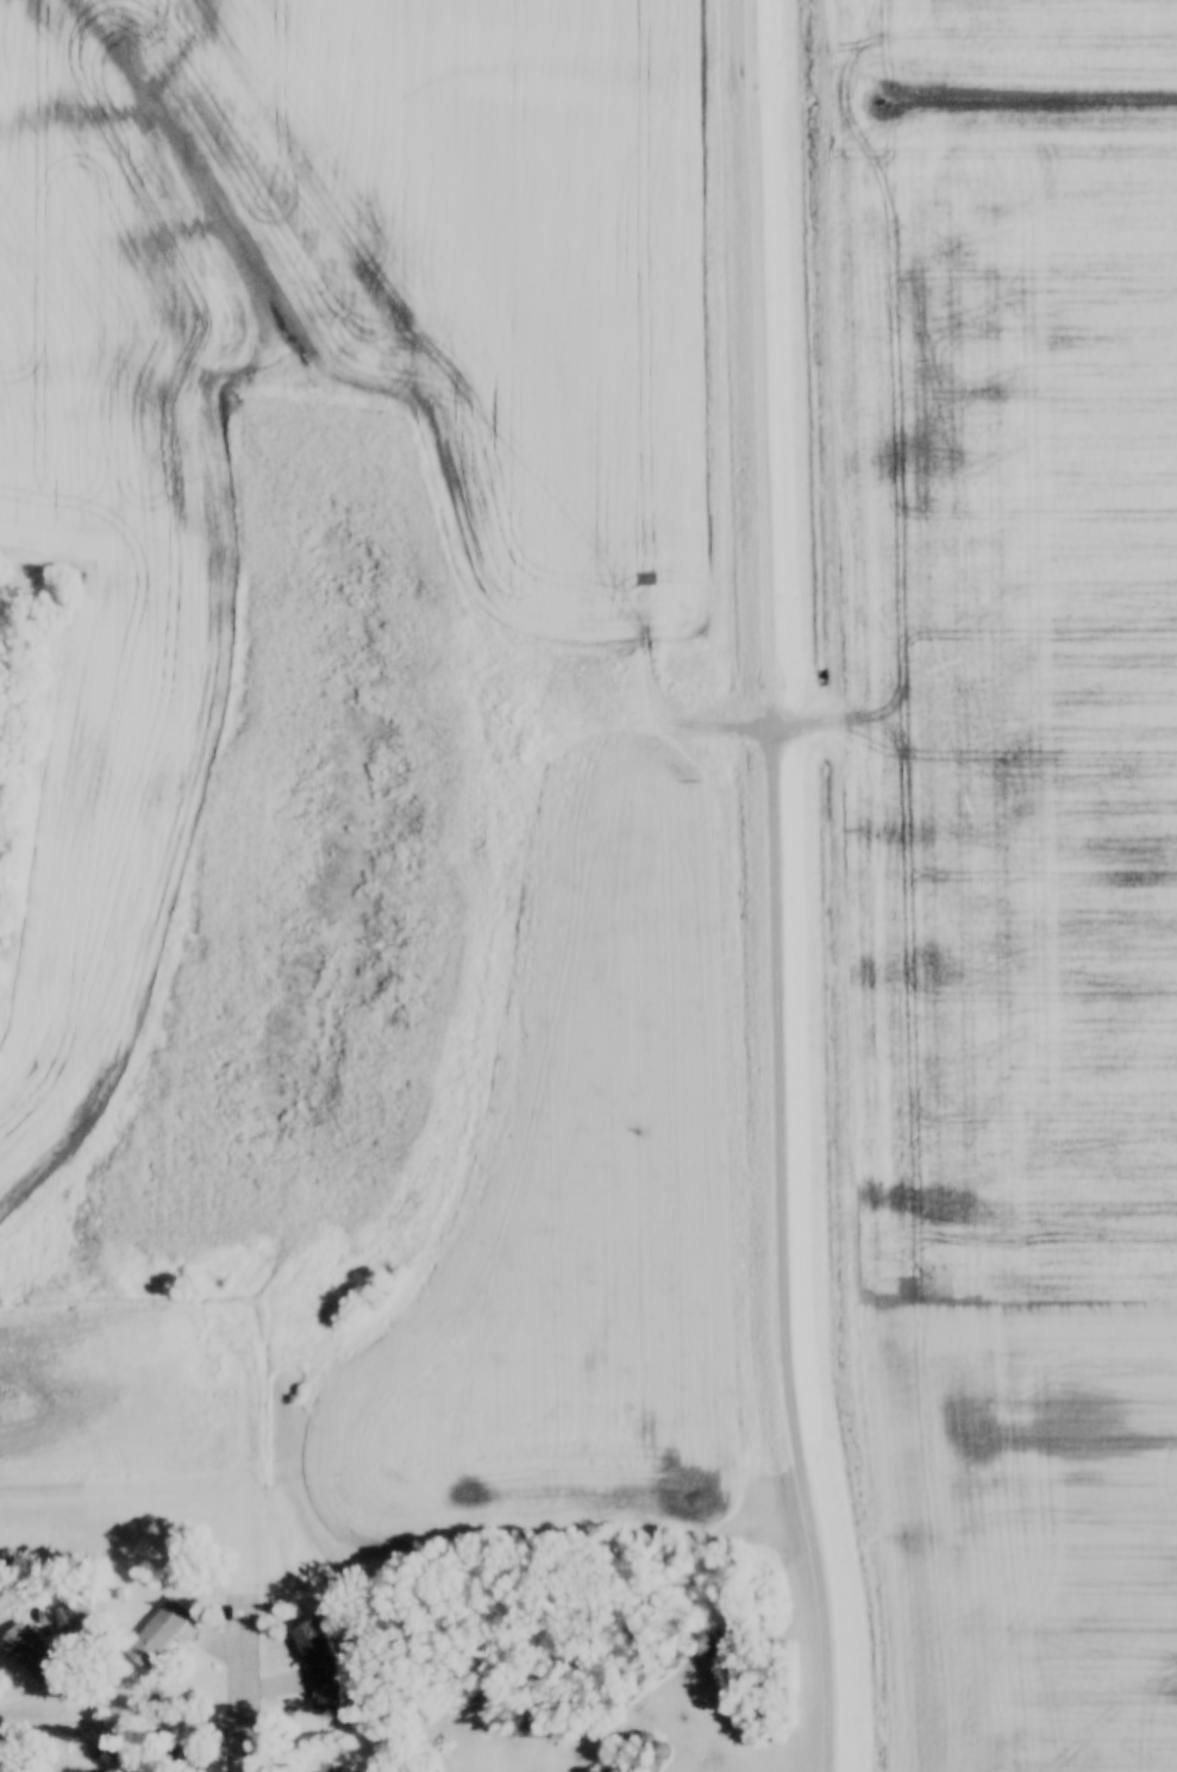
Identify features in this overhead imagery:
road: (772, 1247)
building: (159, 1633)
building: (27, 1649)
building: (318, 1667)
road: (244, 1683)
road: (123, 1727)

